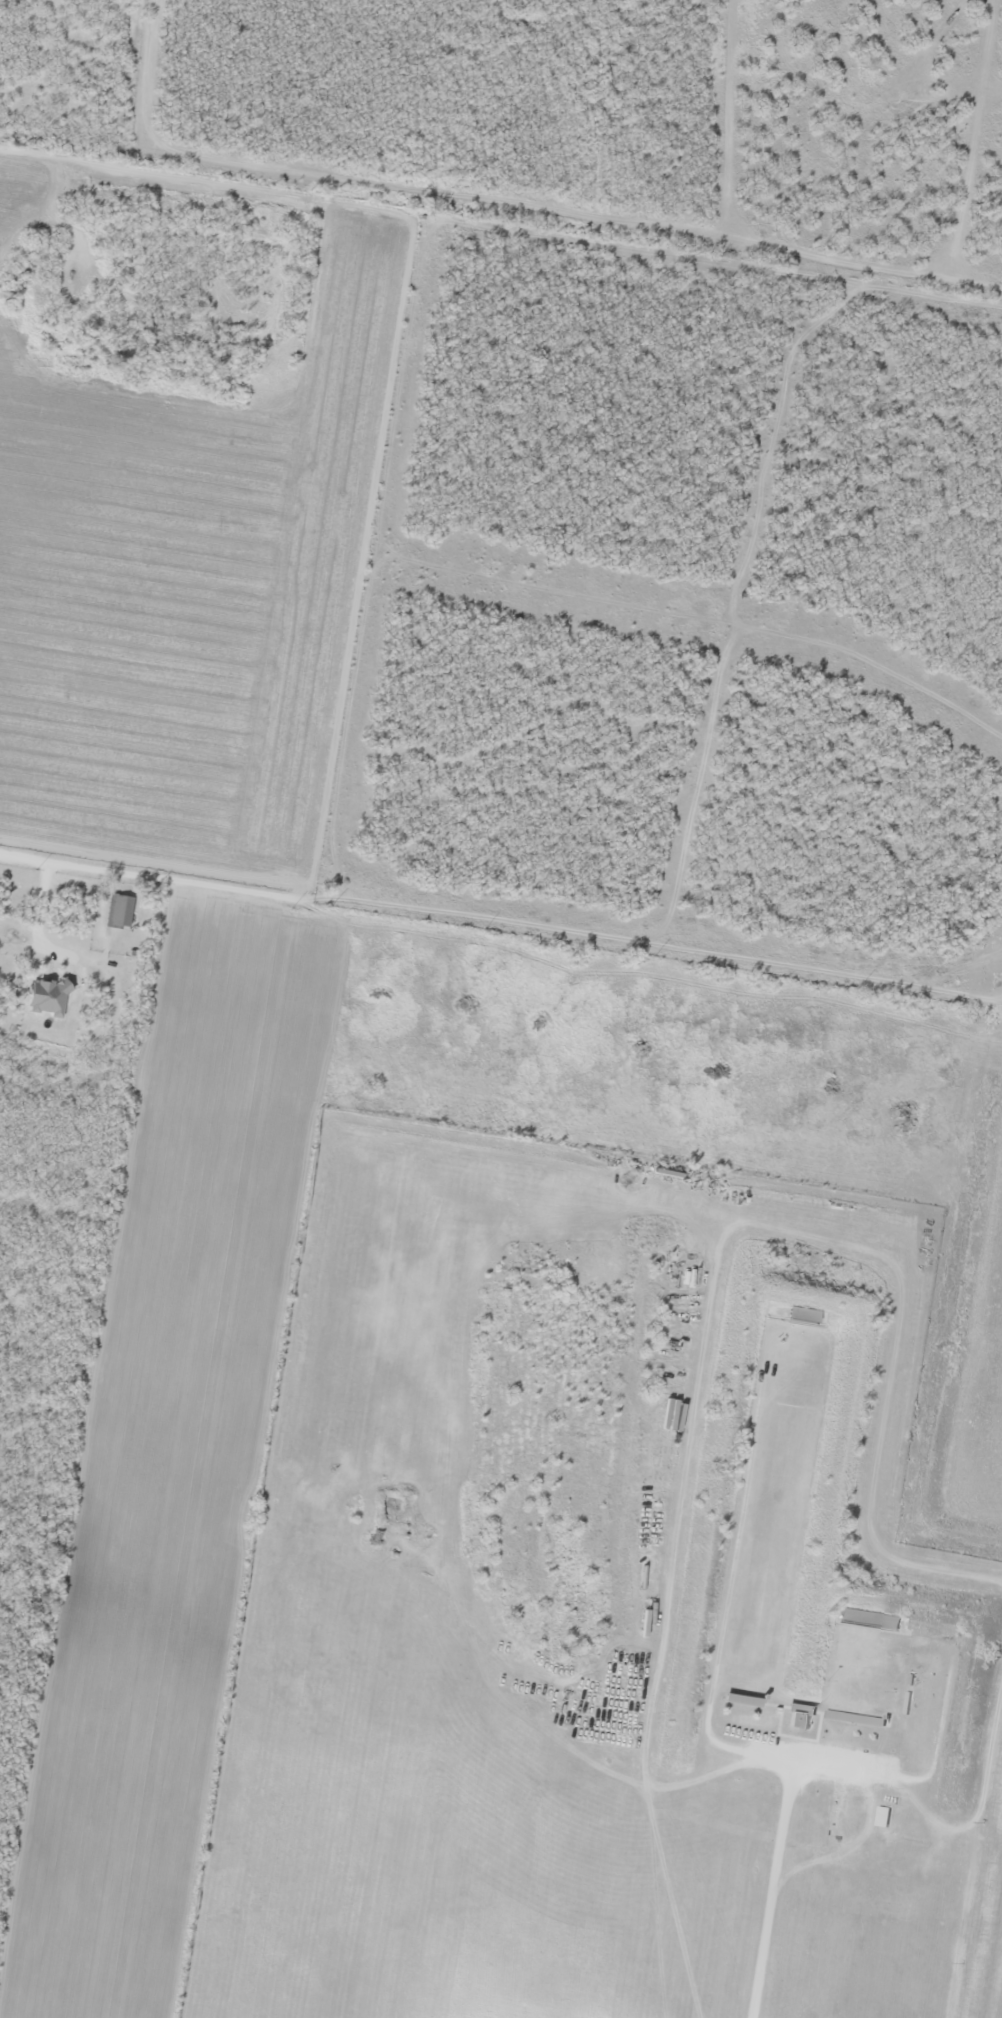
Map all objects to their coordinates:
building: (117, 911)
road: (59, 955)
building: (802, 1315)
building: (866, 1619)
building: (739, 1700)
building: (797, 1716)
building: (854, 1718)
building: (880, 1816)
road: (771, 1888)

